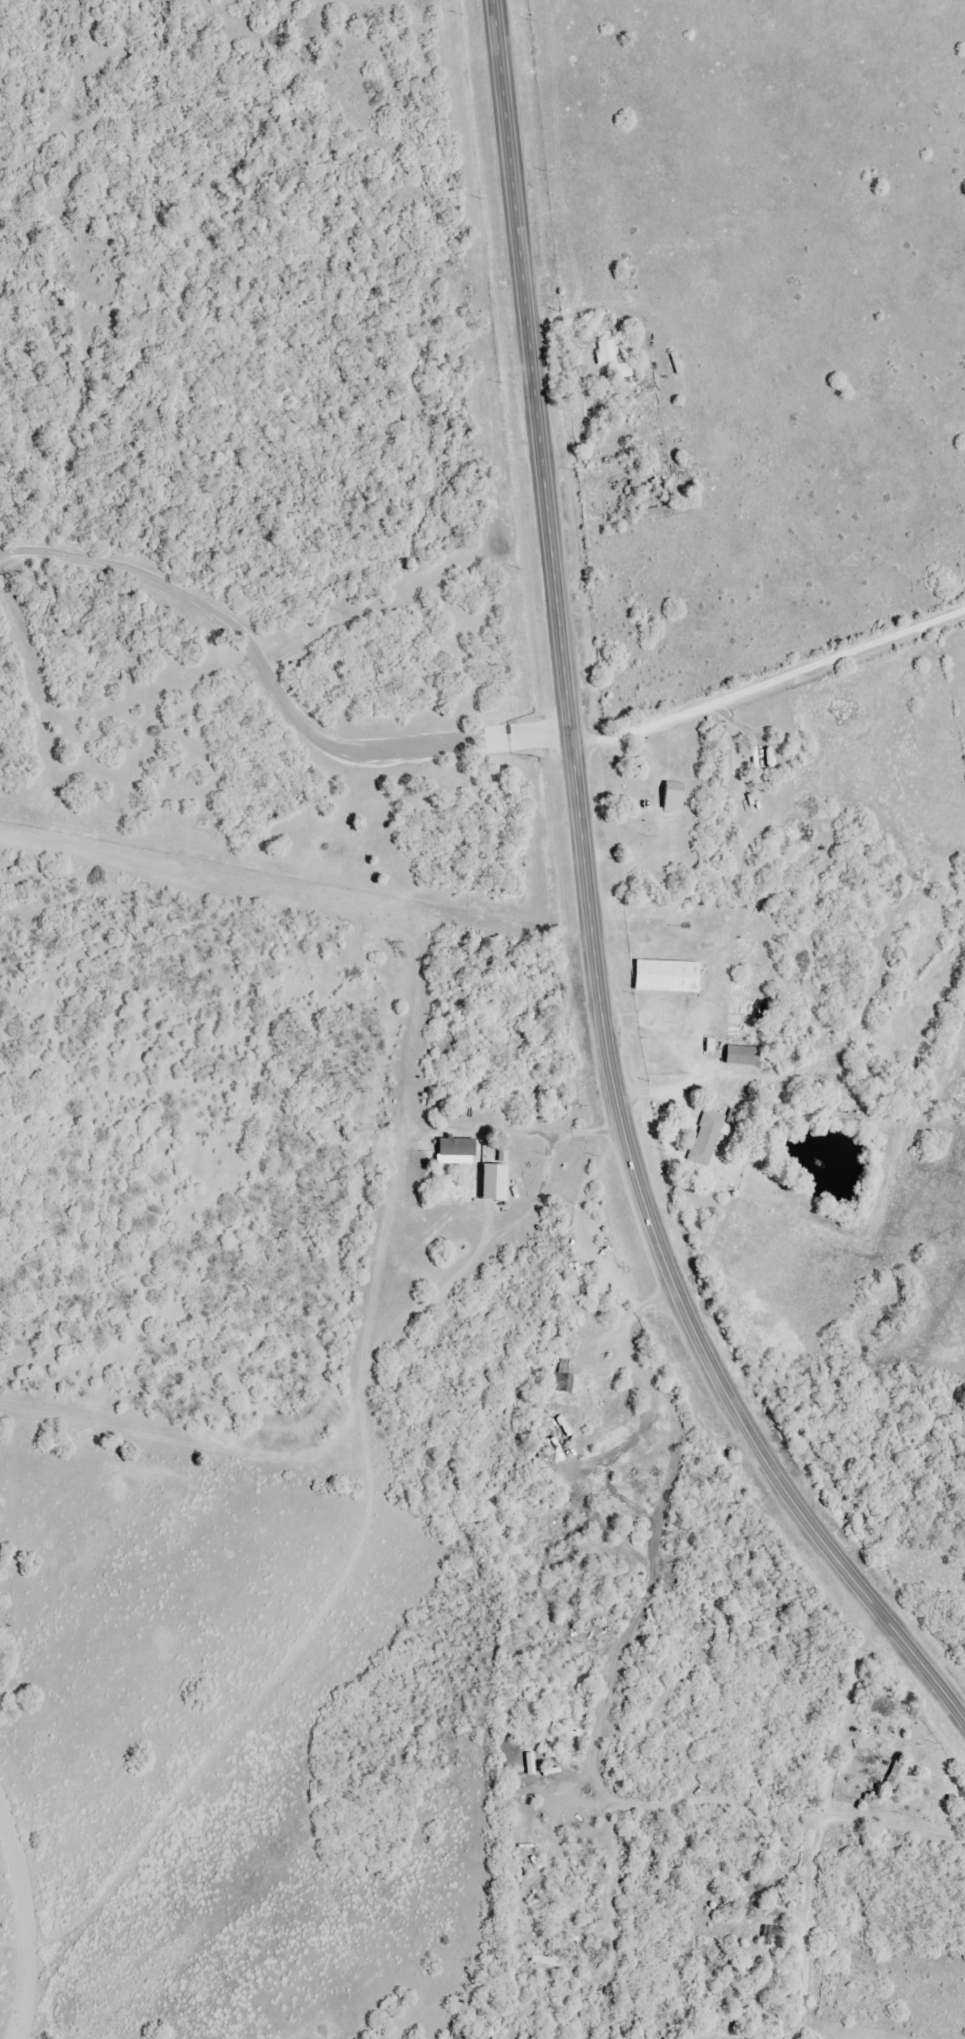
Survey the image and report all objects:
road: (769, 651)
road: (578, 836)
building: (495, 1187)
road: (917, 1669)
road: (893, 1818)
road: (827, 1822)

